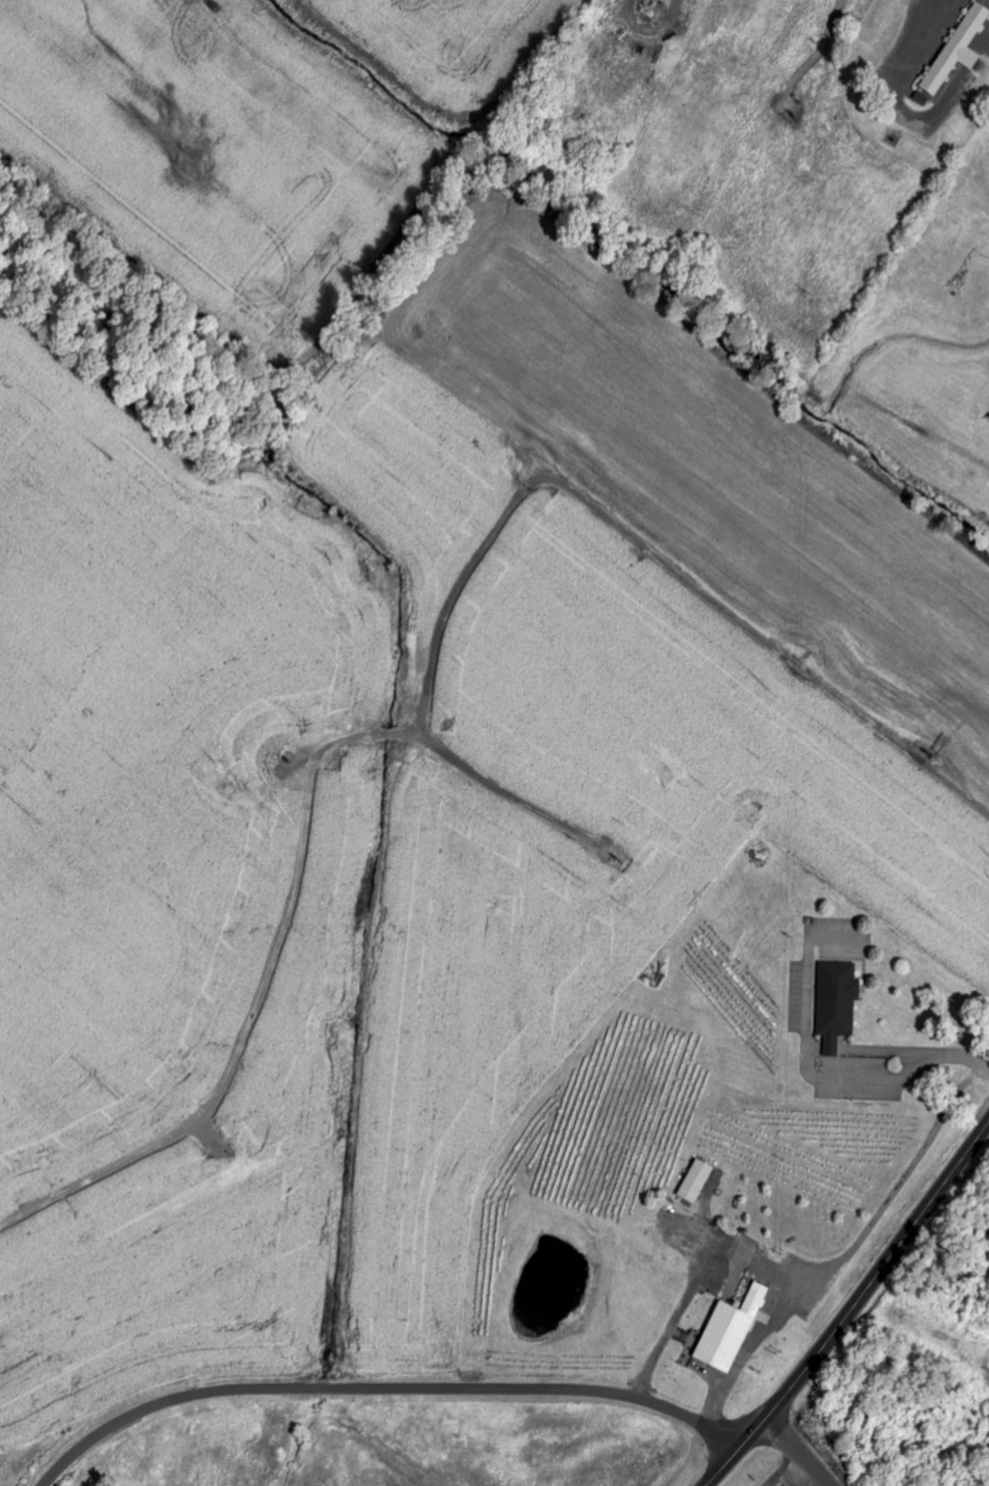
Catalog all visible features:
building: (664, 0)
building: (961, 50)
building: (839, 1003)
building: (699, 1181)
road: (852, 1309)
building: (733, 1331)
road: (383, 1390)
road: (797, 1452)

